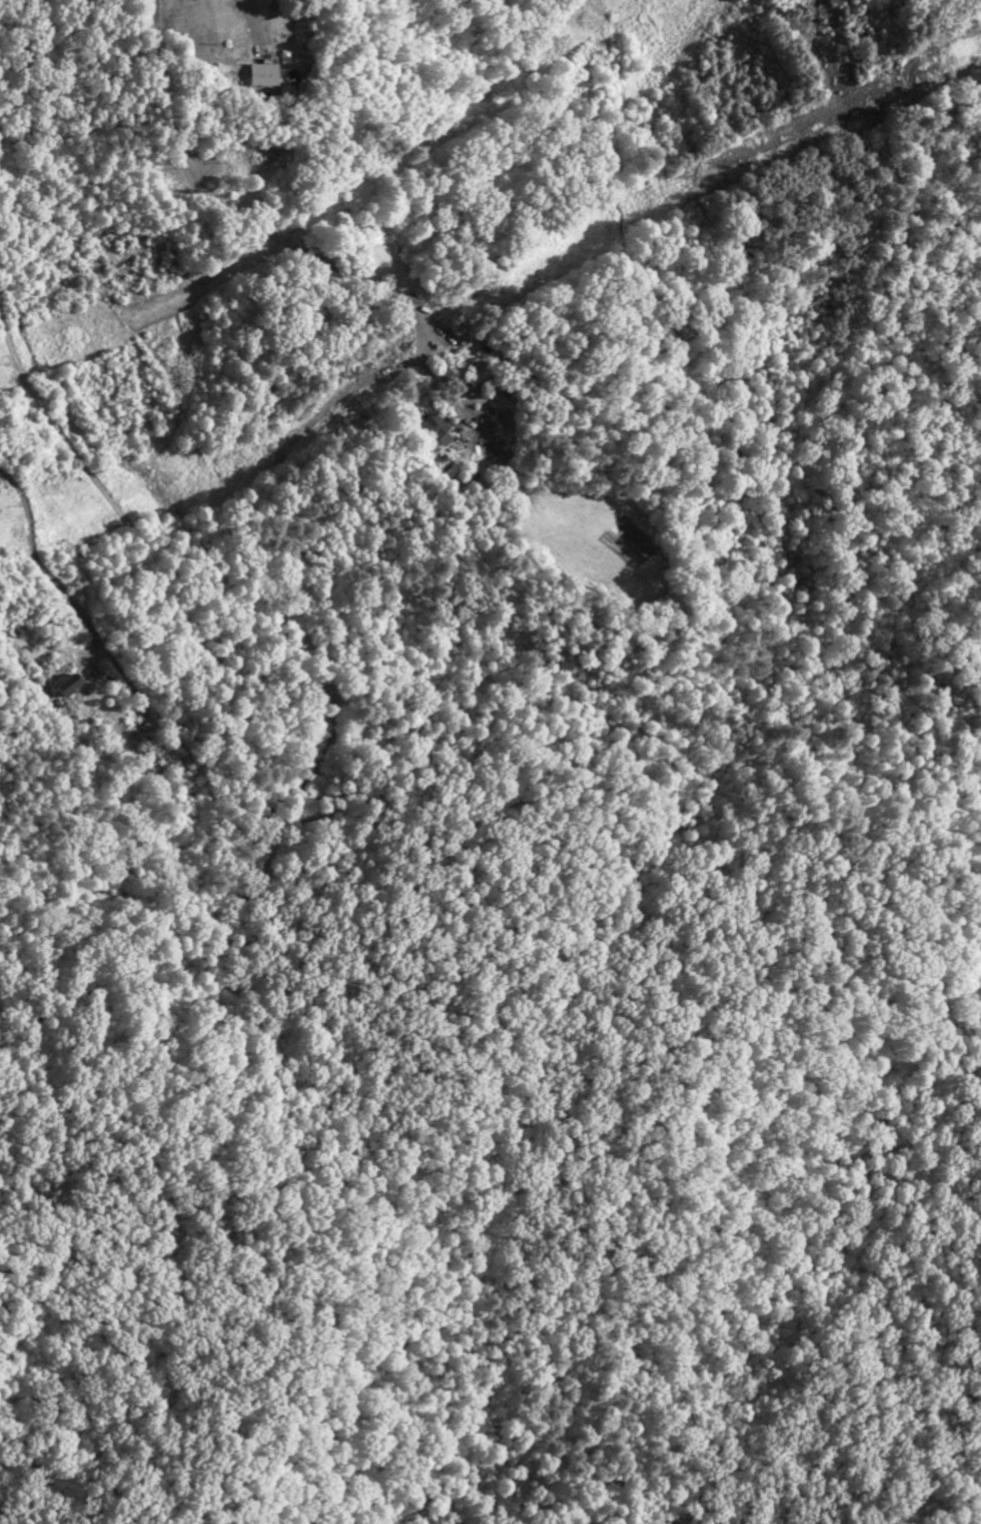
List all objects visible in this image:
building: (260, 79)
road: (231, 212)
building: (438, 428)
road: (43, 568)
building: (62, 689)

